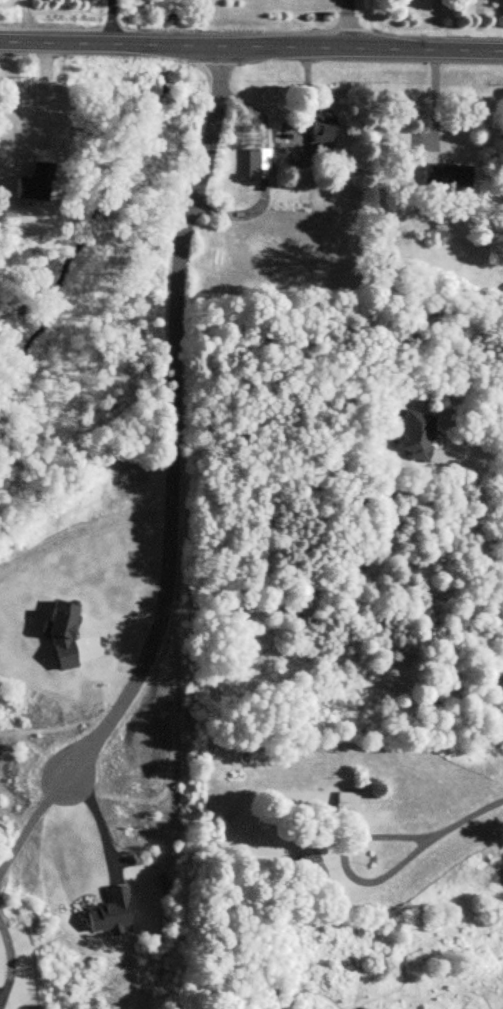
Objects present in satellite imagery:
road: (109, 22)
road: (345, 24)
road: (251, 47)
road: (42, 97)
road: (431, 104)
building: (319, 129)
building: (294, 158)
building: (256, 163)
building: (445, 175)
road: (167, 426)
building: (413, 435)
building: (349, 498)
road: (474, 510)
building: (348, 808)
road: (465, 819)
road: (100, 821)
road: (30, 822)
building: (305, 861)
road: (346, 862)
road: (9, 961)

